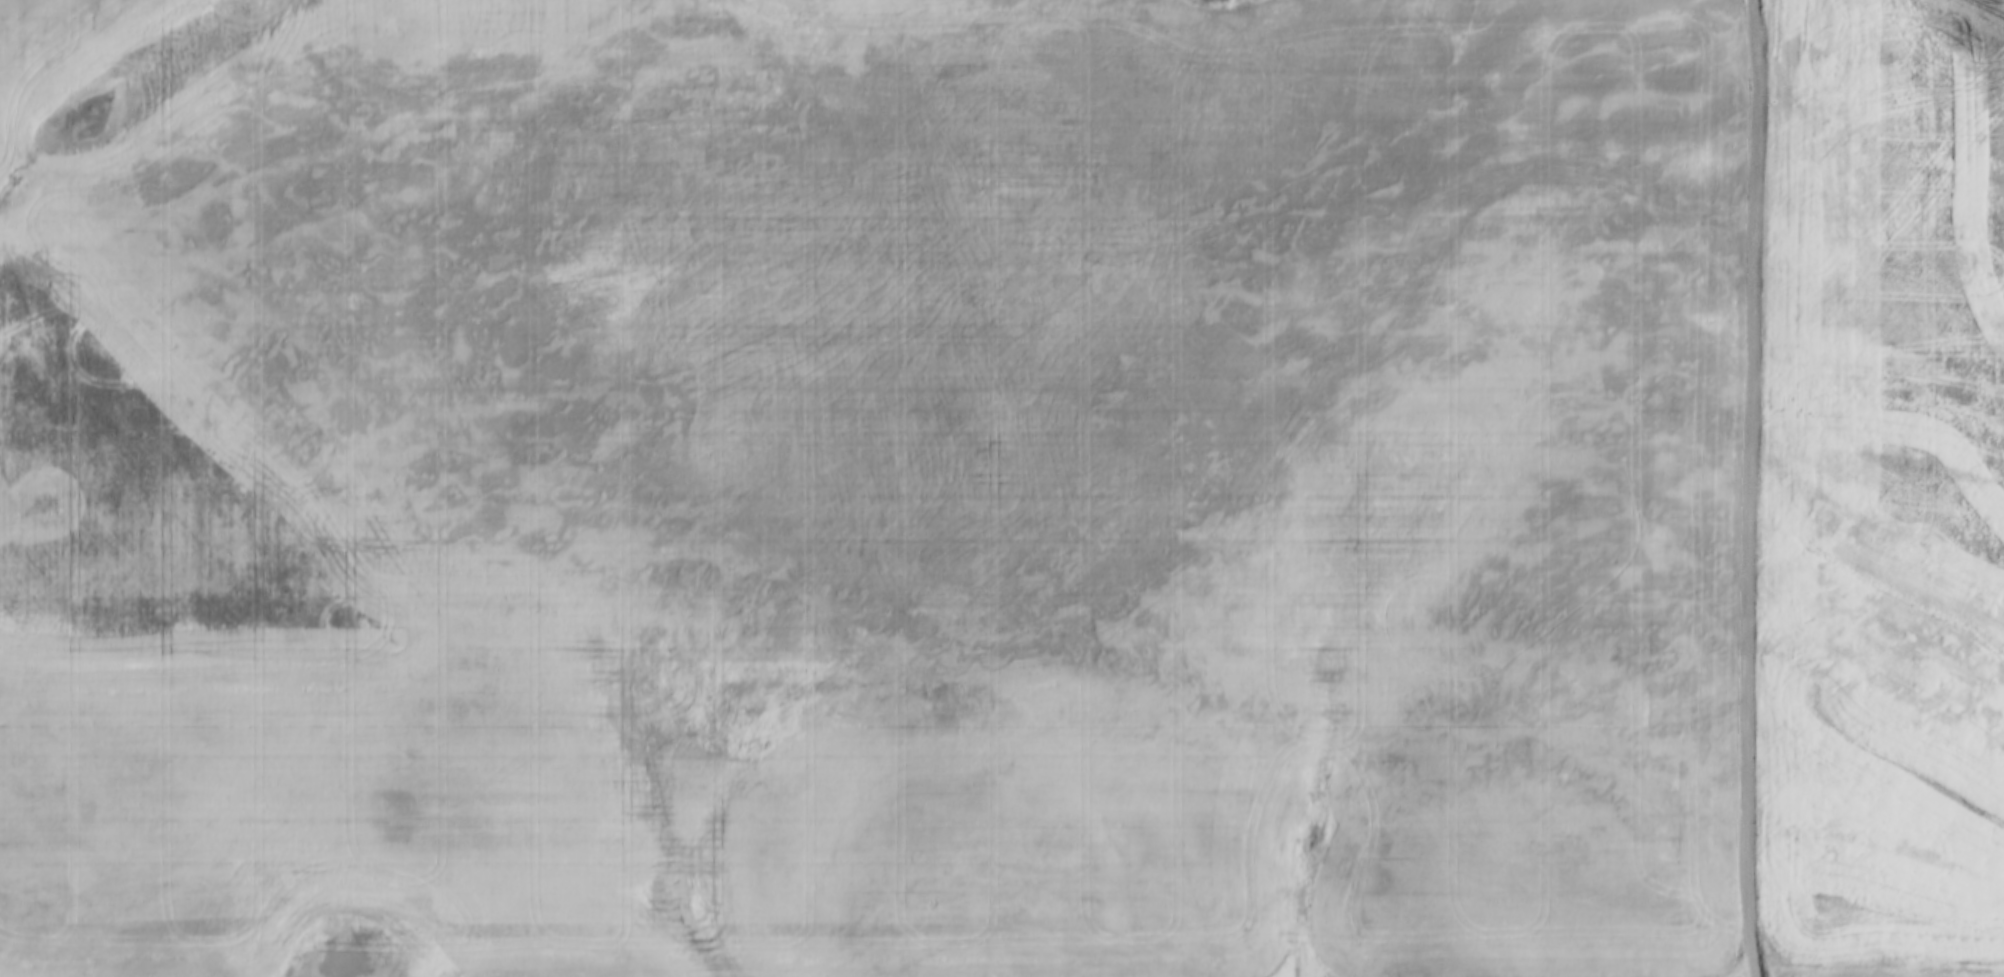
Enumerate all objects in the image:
road: (1753, 488)

